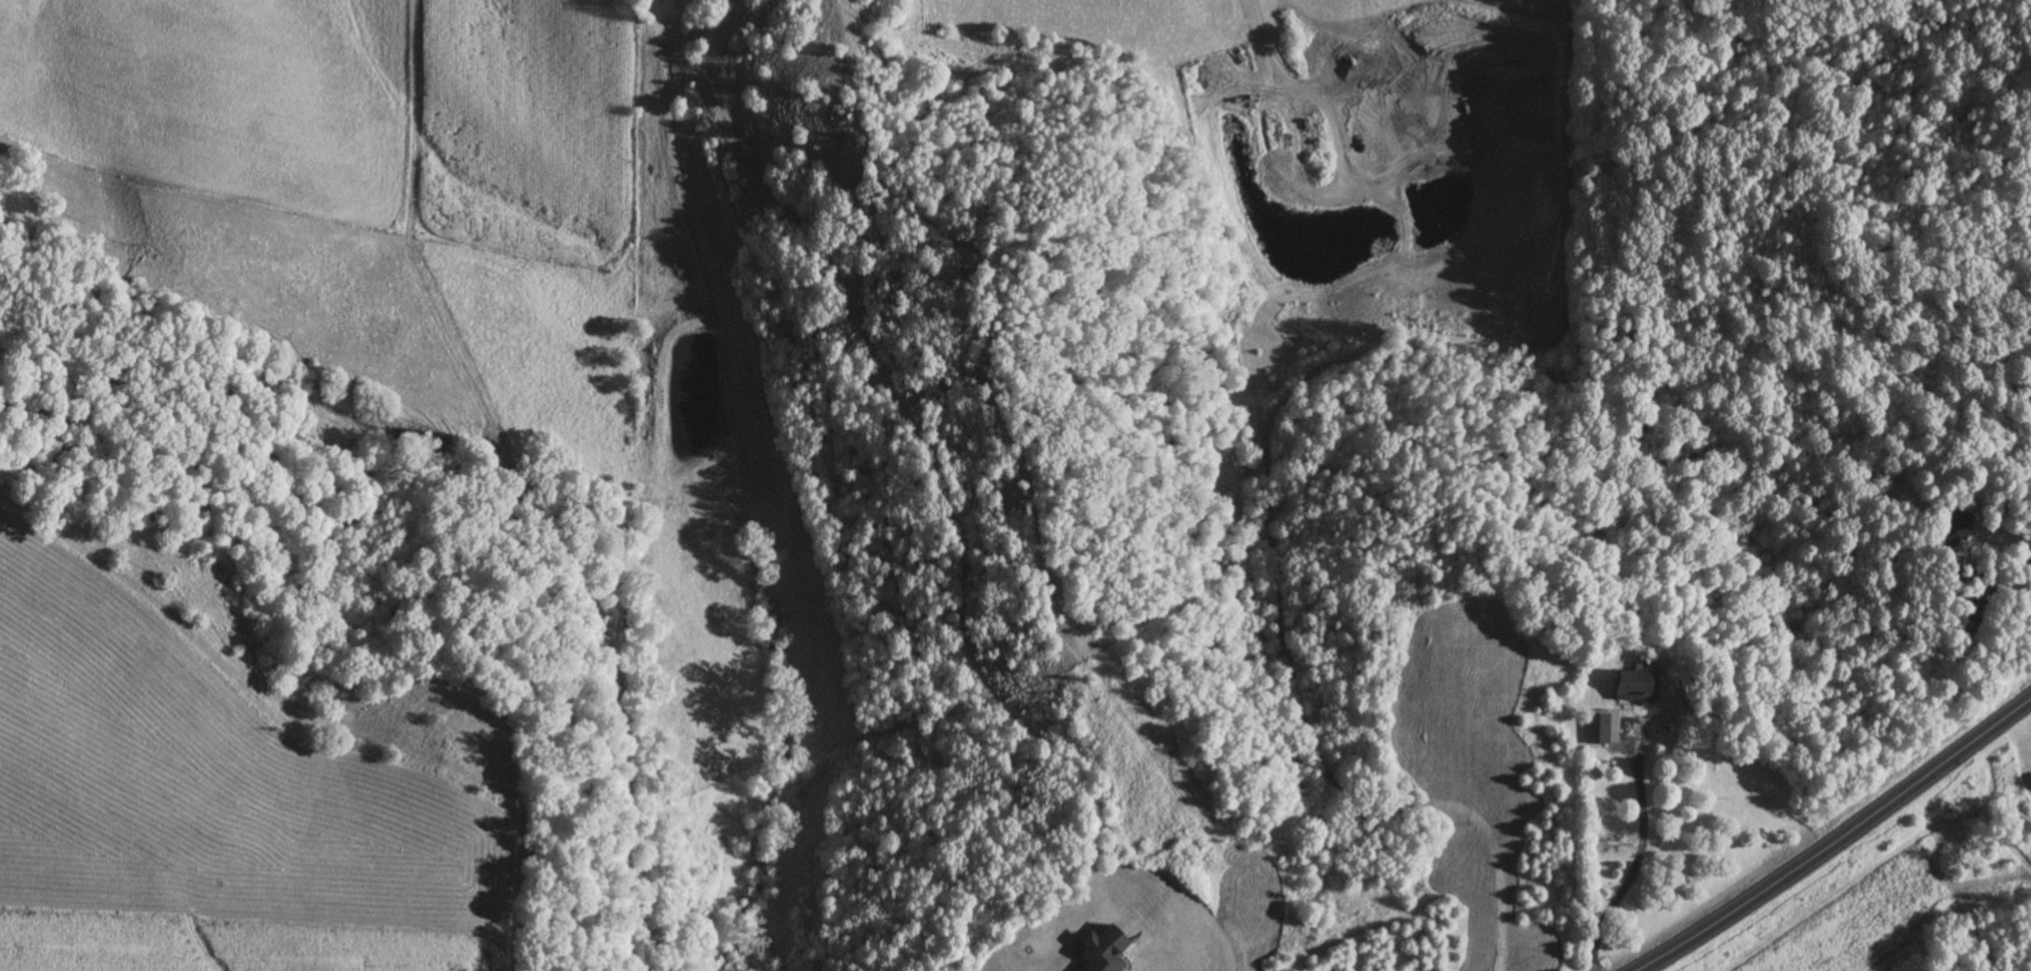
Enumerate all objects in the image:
road: (1305, 93)
building: (1954, 526)
building: (1630, 686)
building: (1596, 729)
road: (1831, 844)
road: (1640, 852)
building: (1102, 950)

